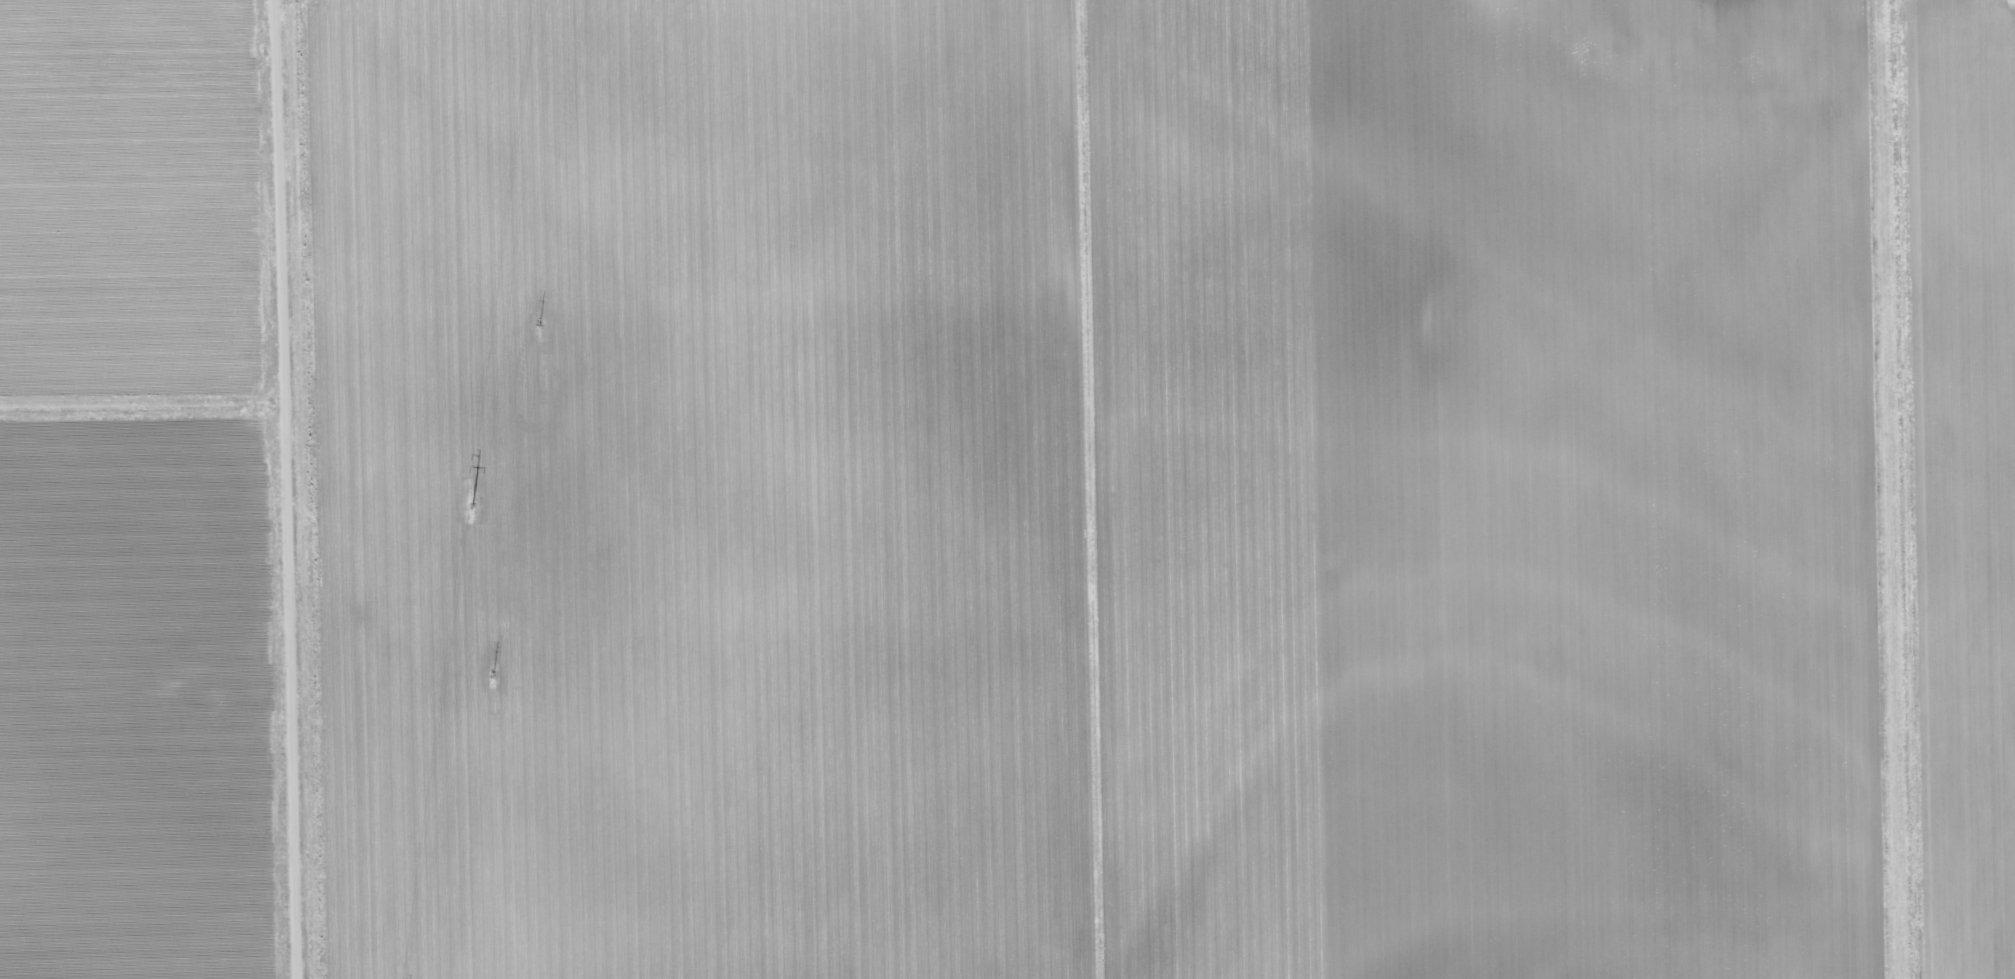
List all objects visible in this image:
road: (285, 489)
road: (1884, 489)
power tower: (466, 504)

